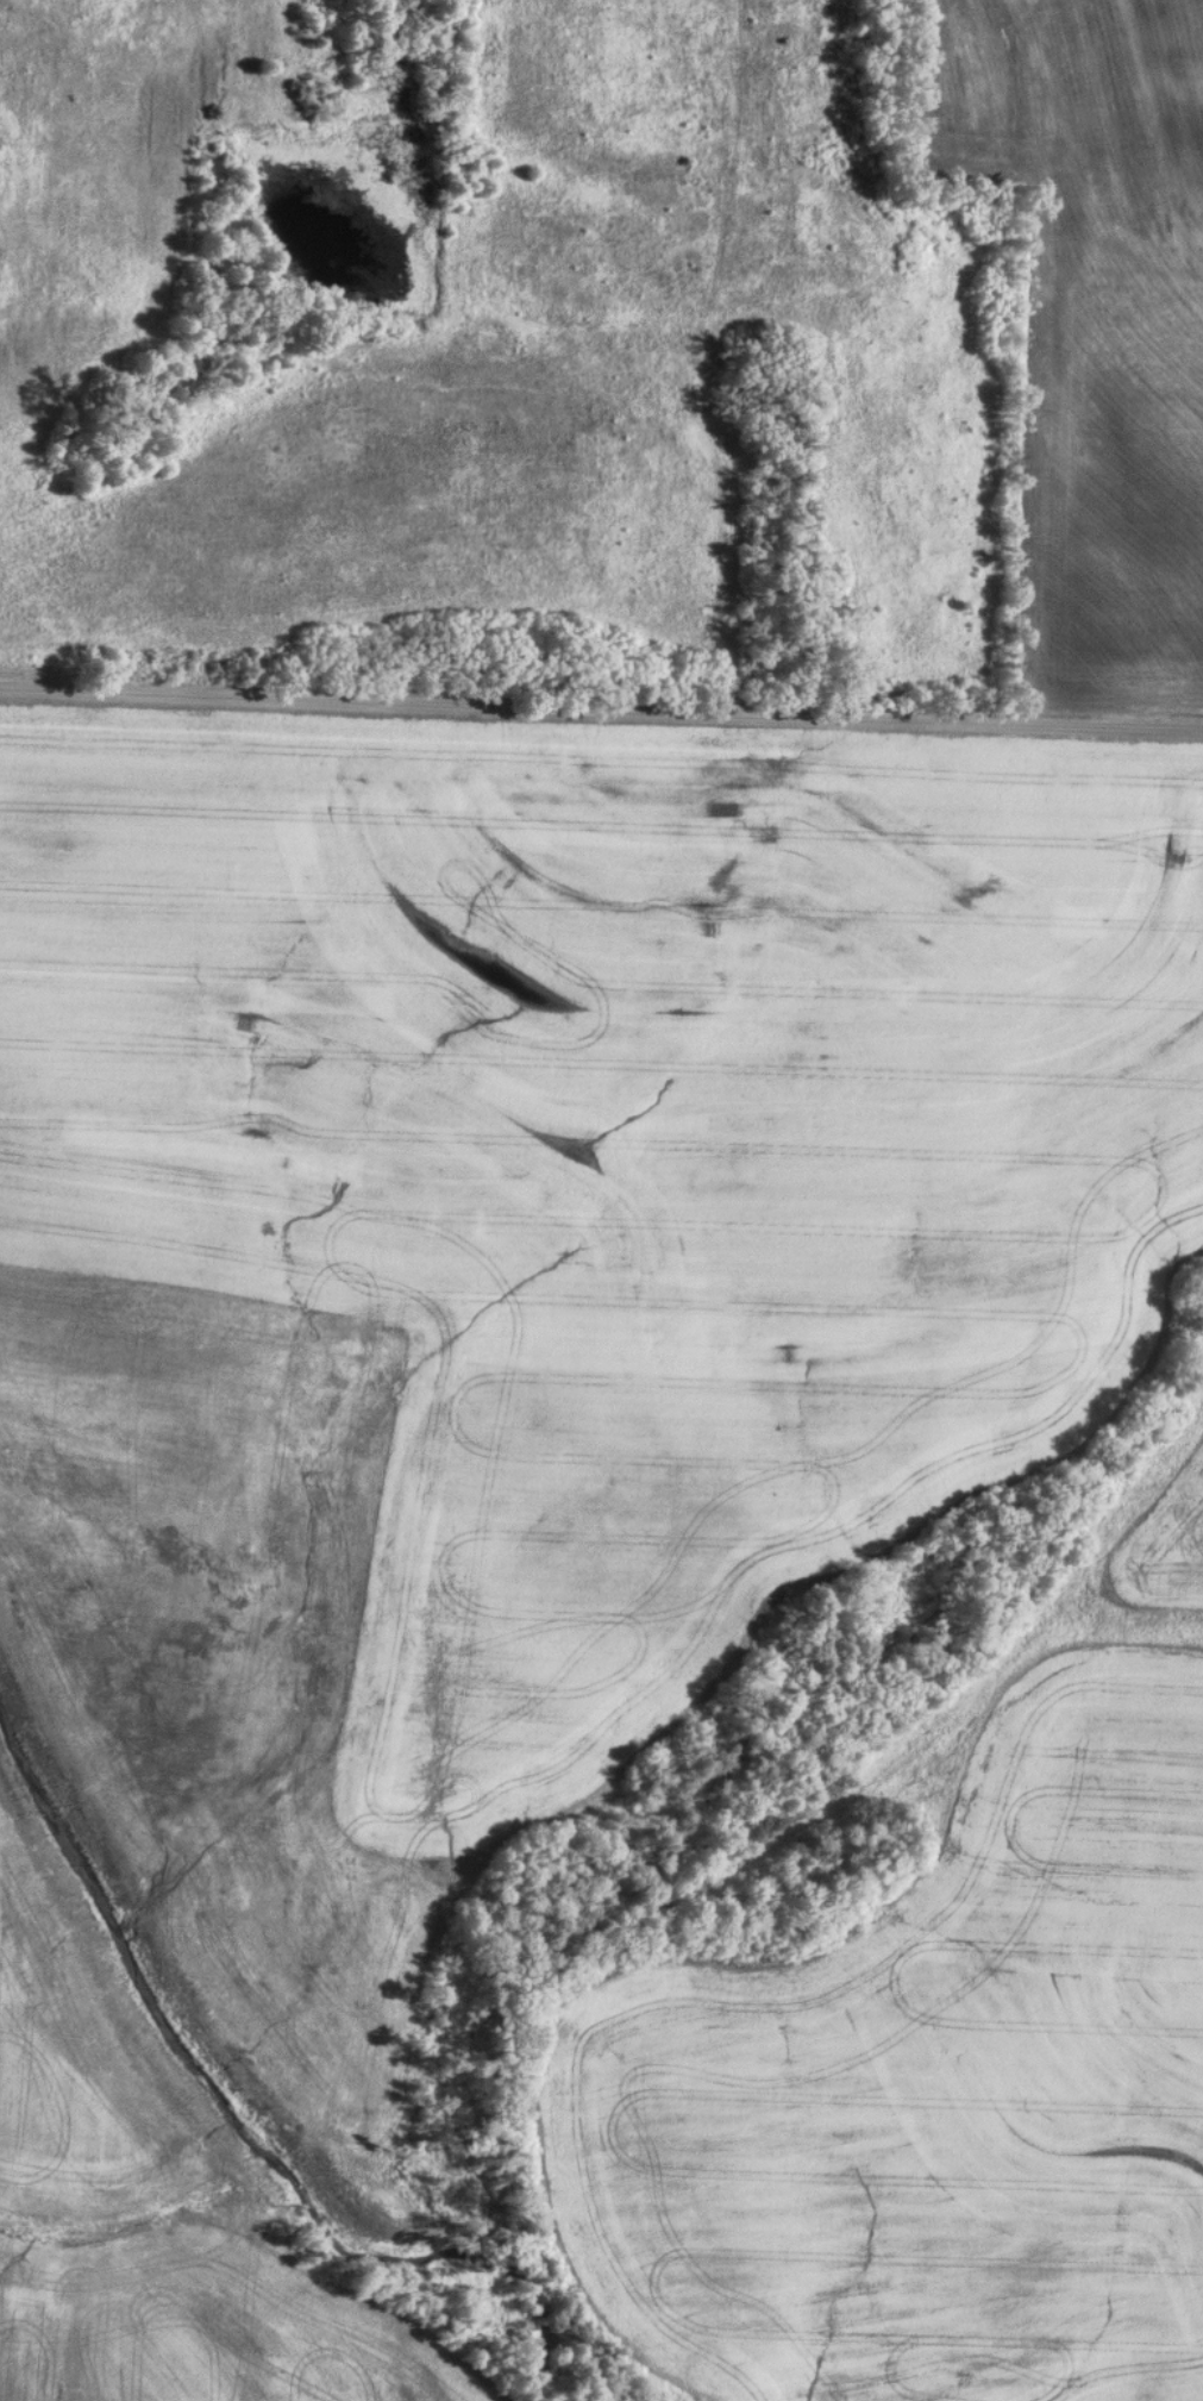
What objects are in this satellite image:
road: (601, 714)

